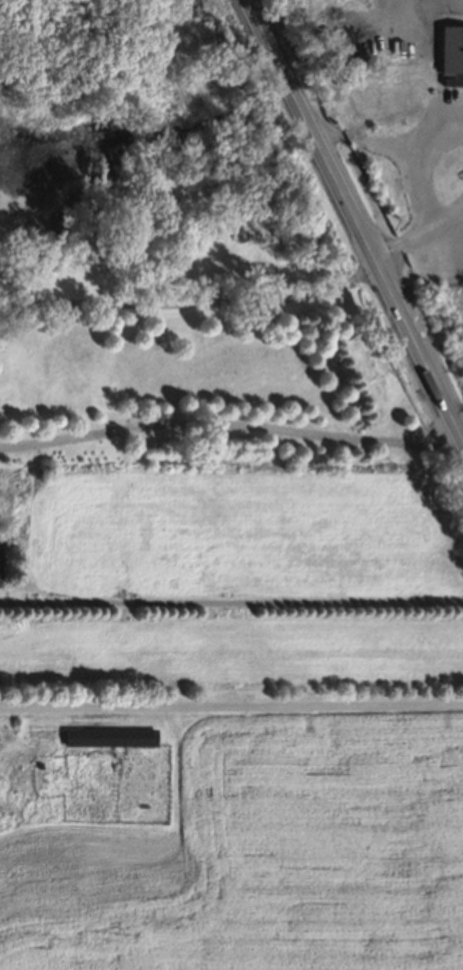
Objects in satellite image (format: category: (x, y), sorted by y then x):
building: (452, 51)
road: (279, 67)
road: (431, 119)
road: (413, 173)
road: (446, 217)
road: (387, 288)
road: (191, 301)
road: (228, 423)
building: (0, 525)
road: (231, 599)
road: (231, 703)
building: (110, 738)

